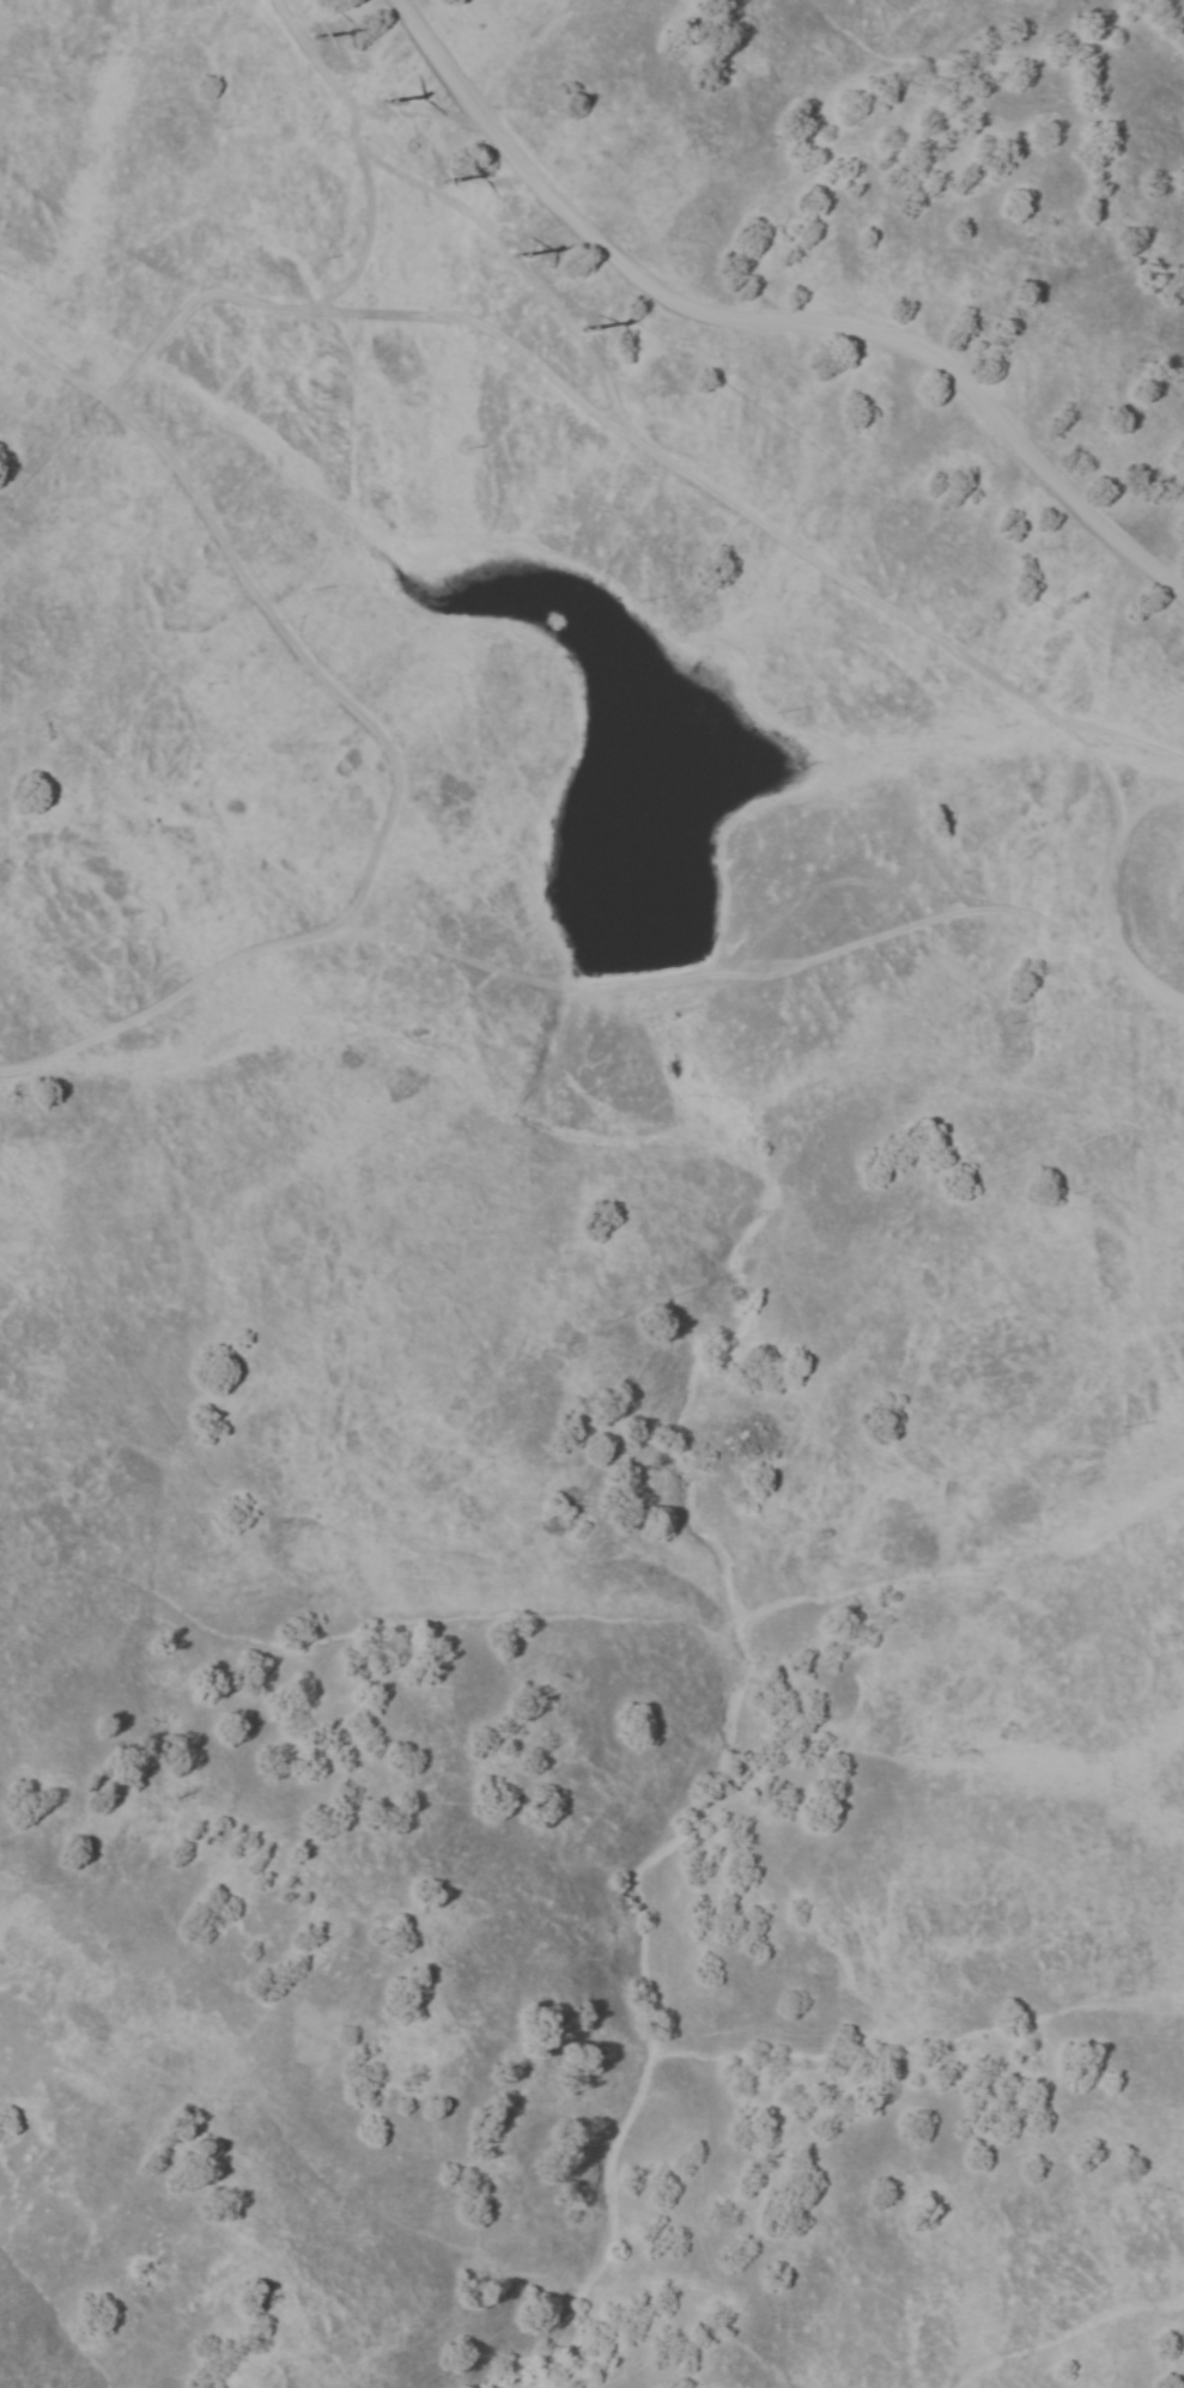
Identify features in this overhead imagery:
wind turbine: (316, 34)
wind turbine: (381, 96)
road: (384, 114)
road: (448, 119)
road: (358, 153)
wind turbine: (448, 178)
wind turbine: (516, 254)
road: (520, 268)
road: (188, 304)
road: (771, 320)
wind turbine: (584, 330)
road: (54, 366)
road: (752, 517)
road: (1125, 739)
road: (389, 806)
road: (821, 888)
road: (1104, 895)
road: (728, 972)

